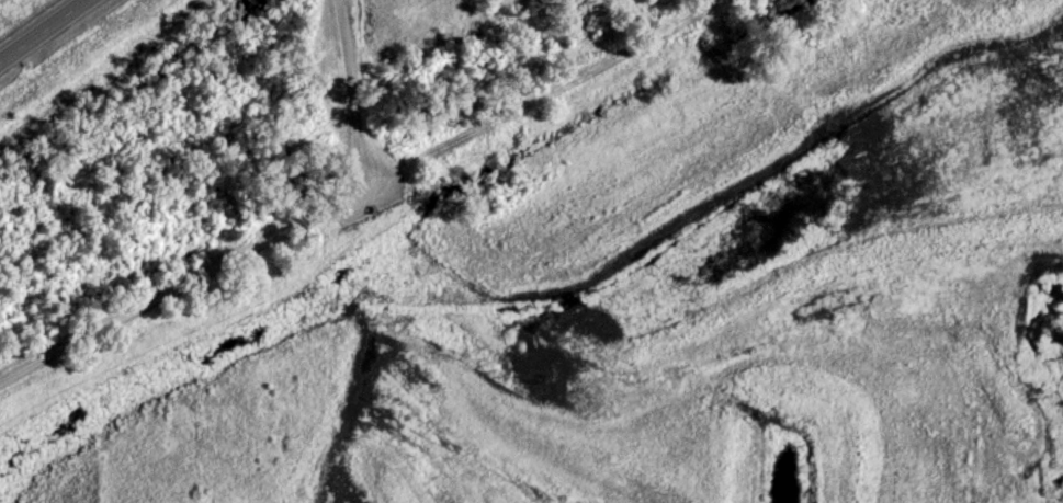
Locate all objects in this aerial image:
road: (69, 49)
road: (351, 95)
road: (358, 192)

